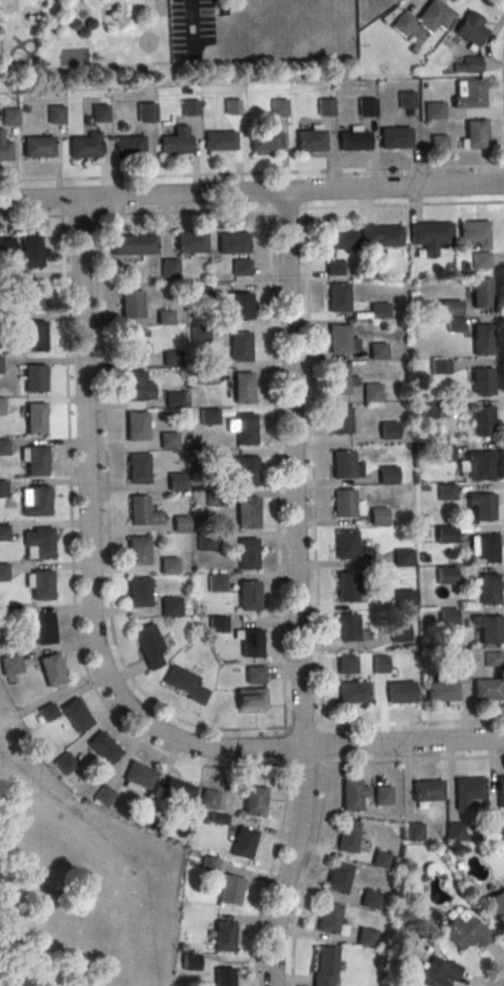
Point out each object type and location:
road: (499, 4)
building: (434, 18)
road: (192, 22)
building: (402, 26)
parking lot: (190, 28)
building: (471, 31)
building: (469, 65)
road: (503, 66)
building: (470, 97)
building: (407, 102)
building: (190, 106)
building: (325, 106)
building: (366, 106)
building: (279, 108)
building: (144, 111)
building: (99, 113)
building: (434, 113)
building: (55, 114)
building: (9, 116)
building: (394, 137)
building: (476, 138)
building: (219, 140)
building: (310, 140)
building: (353, 140)
building: (175, 141)
building: (265, 141)
building: (439, 144)
building: (128, 145)
building: (37, 146)
building: (84, 146)
building: (4, 148)
road: (251, 173)
road: (251, 192)
road: (404, 206)
road: (30, 217)
building: (473, 233)
building: (379, 235)
building: (430, 235)
building: (339, 239)
building: (190, 242)
building: (233, 243)
building: (133, 244)
building: (6, 245)
building: (31, 251)
building: (480, 261)
building: (168, 266)
building: (240, 267)
building: (481, 292)
building: (32, 294)
building: (338, 297)
building: (132, 304)
building: (240, 305)
building: (450, 308)
building: (378, 310)
building: (164, 317)
building: (455, 324)
building: (199, 333)
building: (34, 335)
building: (338, 338)
building: (481, 339)
building: (131, 343)
road: (308, 346)
building: (239, 347)
building: (377, 350)
building: (171, 358)
building: (0, 364)
building: (440, 367)
building: (206, 374)
building: (34, 378)
building: (338, 378)
building: (482, 381)
building: (133, 384)
building: (243, 387)
building: (371, 392)
building: (173, 399)
building: (0, 405)
building: (427, 409)
building: (208, 416)
building: (34, 419)
building: (339, 420)
building: (483, 420)
building: (135, 426)
building: (245, 428)
building: (389, 430)
building: (167, 440)
building: (3, 446)
building: (445, 452)
building: (35, 460)
building: (343, 464)
building: (479, 464)
building: (137, 467)
road: (85, 469)
road: (276, 469)
building: (247, 470)
building: (388, 474)
building: (175, 481)
building: (1, 489)
building: (446, 490)
building: (213, 498)
building: (38, 500)
building: (344, 503)
building: (484, 506)
building: (138, 510)
building: (246, 512)
building: (379, 516)
building: (180, 524)
building: (3, 533)
building: (446, 534)
building: (206, 542)
building: (41, 543)
building: (346, 544)
building: (486, 548)
building: (137, 550)
building: (247, 553)
building: (402, 557)
building: (167, 565)
building: (2, 571)
building: (446, 575)
building: (216, 583)
building: (41, 585)
building: (346, 586)
building: (488, 588)
road: (298, 590)
building: (138, 591)
building: (248, 596)
building: (404, 597)
building: (169, 606)
building: (446, 616)
building: (217, 625)
building: (43, 628)
building: (347, 628)
building: (489, 629)
building: (399, 633)
road: (113, 635)
building: (250, 643)
building: (148, 645)
building: (492, 659)
road: (83, 662)
building: (9, 664)
building: (380, 664)
building: (346, 665)
building: (50, 669)
building: (255, 674)
building: (184, 683)
building: (485, 689)
building: (352, 691)
building: (441, 691)
building: (400, 692)
building: (251, 698)
road: (45, 701)
building: (47, 713)
building: (75, 715)
road: (322, 745)
building: (103, 747)
building: (63, 763)
building: (139, 775)
building: (175, 790)
building: (426, 791)
building: (466, 791)
building: (500, 791)
building: (352, 795)
building: (103, 796)
building: (382, 796)
building: (208, 798)
building: (254, 800)
building: (150, 819)
building: (495, 831)
building: (413, 832)
building: (454, 832)
building: (347, 837)
building: (242, 843)
building: (379, 861)
road: (305, 874)
road: (267, 875)
building: (337, 877)
park: (78, 880)
building: (228, 889)
building: (370, 899)
building: (496, 906)
building: (327, 918)
building: (463, 932)
building: (222, 936)
building: (365, 937)
building: (324, 965)
road: (488, 968)
building: (438, 971)
building: (222, 977)
road: (500, 981)

